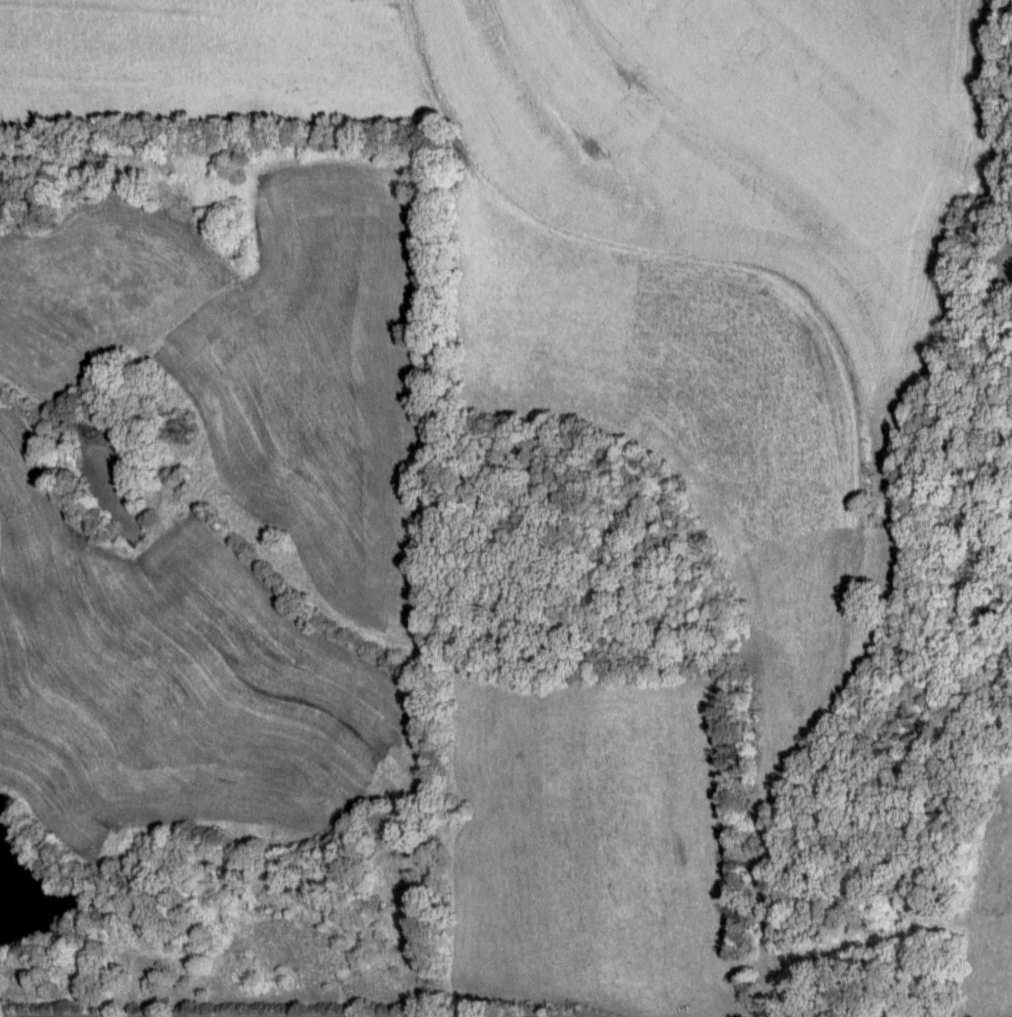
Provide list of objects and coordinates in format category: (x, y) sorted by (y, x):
road: (23, 634)

